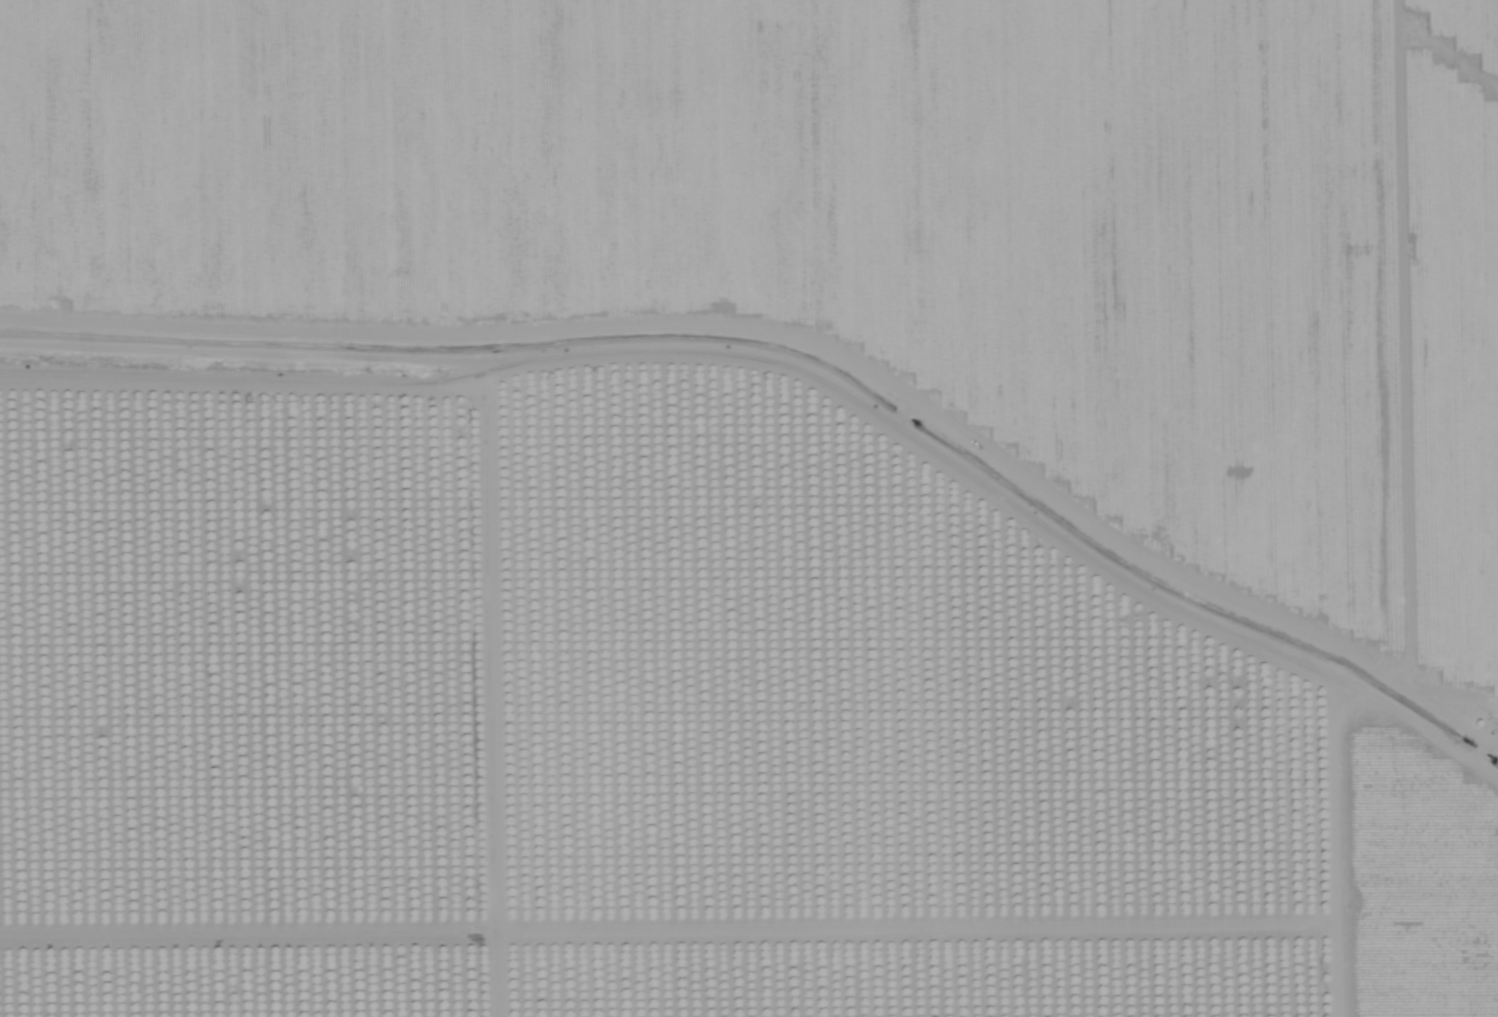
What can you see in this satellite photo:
crop: (872, 229)
crop: (639, 717)

